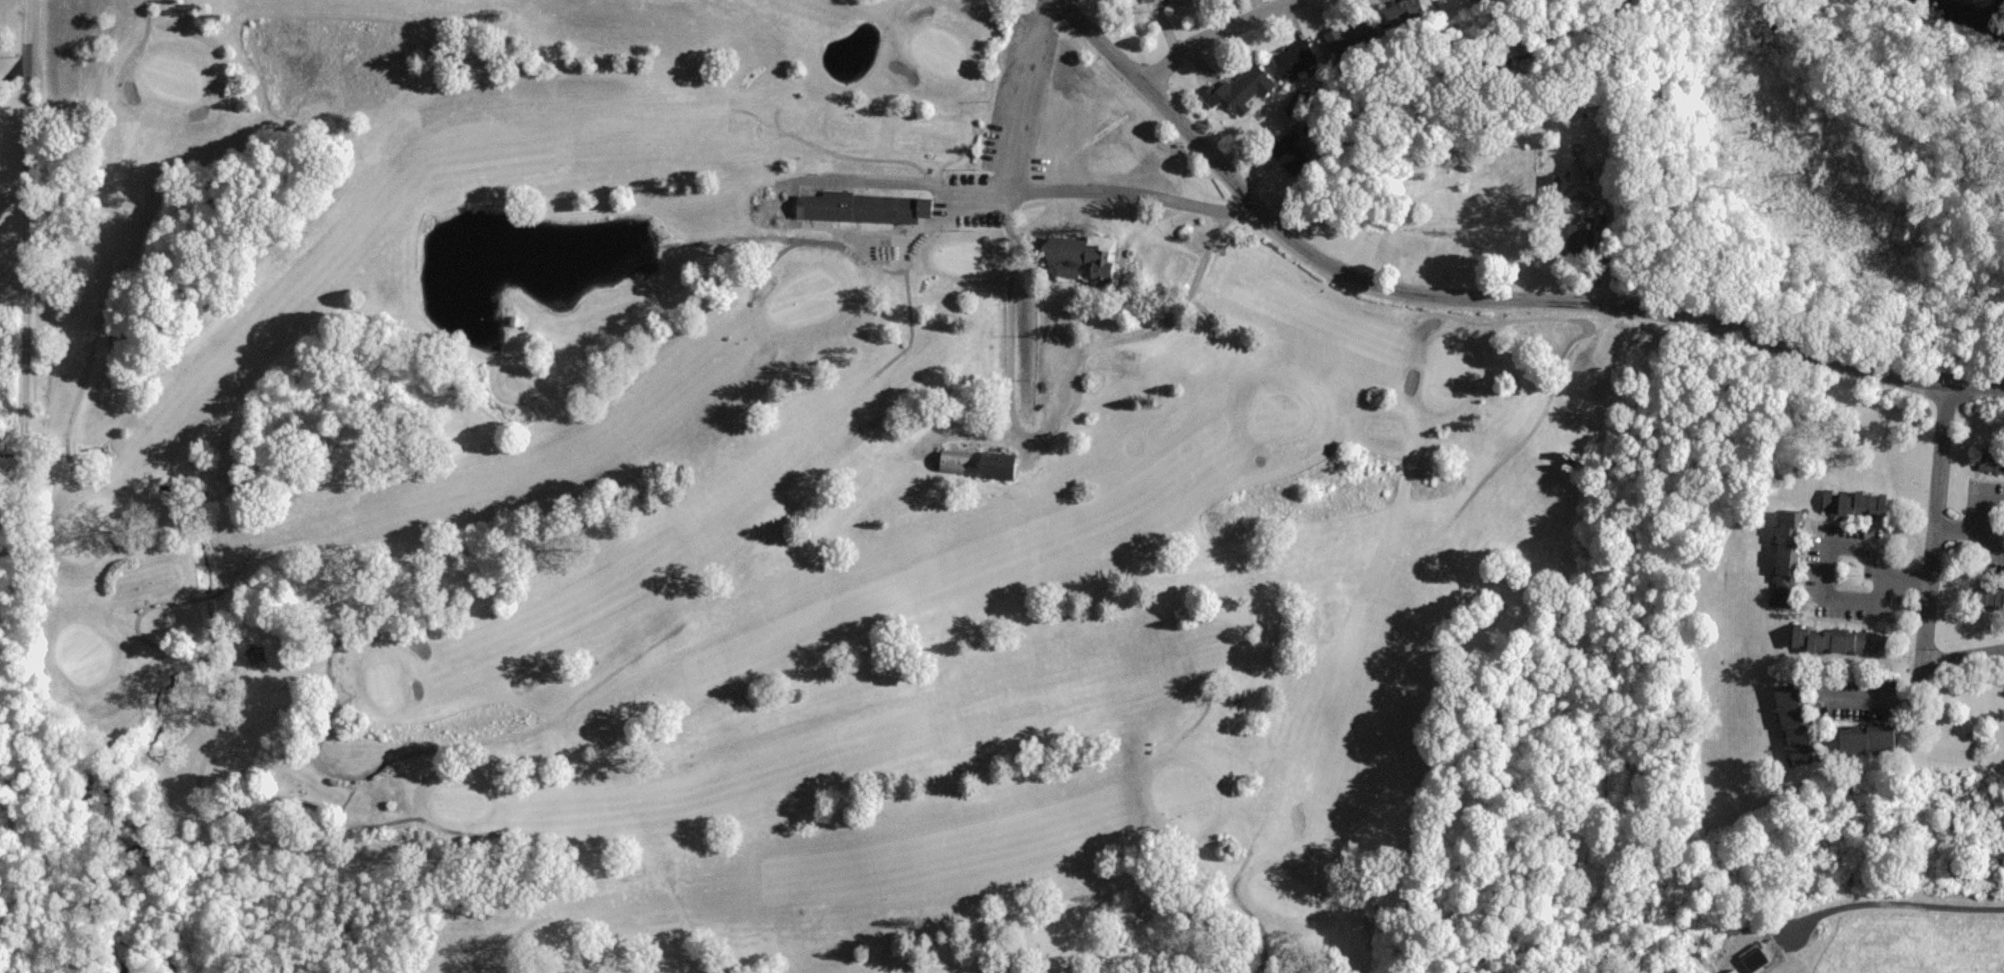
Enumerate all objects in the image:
building: (1179, 1)
building: (1395, 13)
road: (1213, 32)
building: (1350, 34)
building: (1293, 52)
road: (13, 68)
building: (1240, 88)
road: (1023, 90)
road: (1103, 179)
building: (861, 206)
road: (25, 212)
road: (1186, 285)
road: (1478, 296)
building: (1990, 461)
park: (711, 493)
road: (1987, 496)
road: (1960, 516)
road: (1986, 538)
road: (1830, 541)
building: (1782, 557)
road: (1930, 589)
building: (1989, 597)
building: (1818, 638)
road: (1964, 656)
building: (1783, 706)
road: (1892, 902)
building: (1751, 959)
building: (1730, 971)

